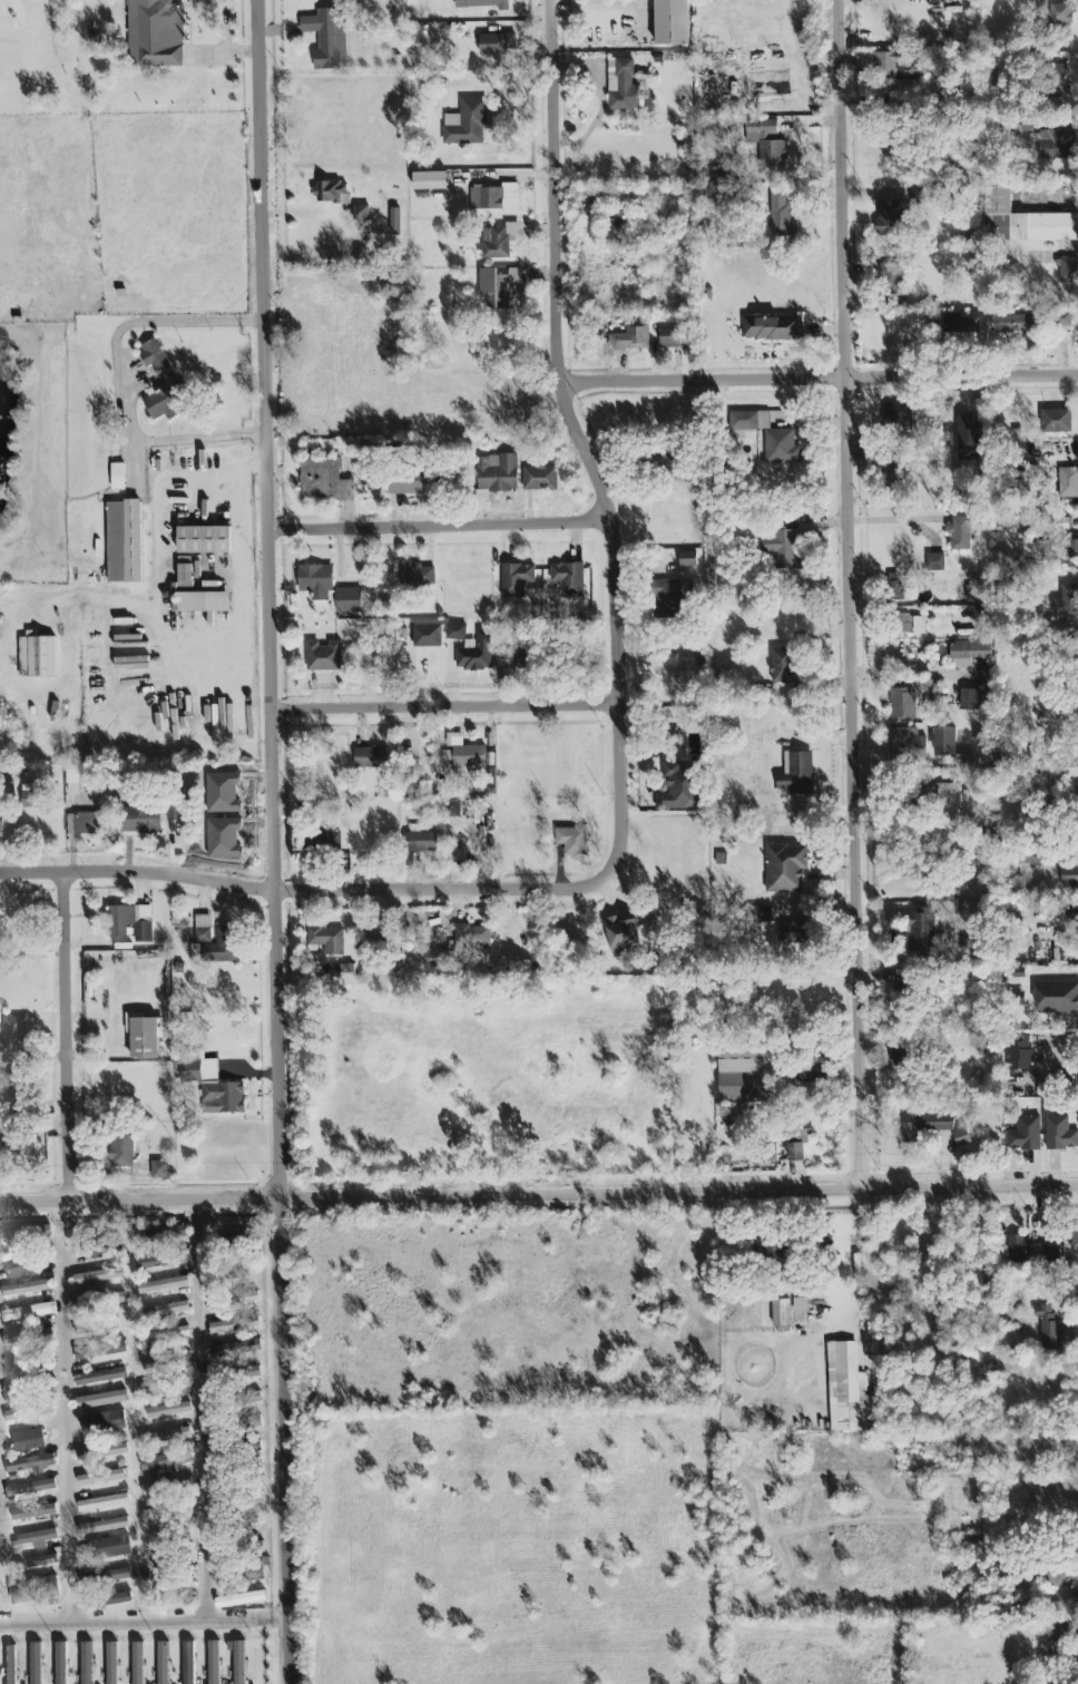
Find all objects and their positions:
building: (481, 4)
road: (594, 9)
building: (1060, 14)
building: (670, 22)
building: (154, 33)
building: (326, 38)
road: (227, 41)
building: (497, 46)
building: (1057, 78)
building: (623, 87)
building: (465, 124)
building: (1056, 145)
building: (771, 150)
building: (430, 182)
building: (329, 192)
building: (917, 194)
building: (493, 198)
building: (360, 213)
building: (781, 215)
building: (890, 218)
building: (1021, 221)
building: (394, 222)
building: (616, 226)
building: (497, 242)
building: (1068, 271)
building: (497, 286)
building: (1062, 320)
building: (961, 325)
building: (1012, 325)
building: (771, 329)
building: (629, 337)
building: (669, 339)
building: (170, 379)
road: (119, 380)
road: (819, 380)
building: (1056, 422)
road: (576, 435)
building: (767, 437)
building: (497, 474)
building: (117, 477)
building: (538, 479)
building: (323, 481)
building: (1068, 483)
building: (406, 484)
road: (156, 507)
road: (899, 520)
road: (441, 527)
building: (962, 532)
building: (204, 540)
building: (122, 542)
building: (786, 550)
building: (1070, 550)
building: (687, 560)
building: (934, 562)
building: (415, 575)
building: (568, 579)
building: (516, 580)
building: (327, 589)
road: (851, 595)
building: (974, 595)
building: (198, 596)
building: (669, 597)
building: (1066, 605)
building: (910, 625)
building: (455, 633)
building: (427, 636)
road: (232, 653)
building: (474, 653)
building: (969, 653)
building: (36, 657)
building: (323, 657)
building: (513, 660)
building: (782, 666)
building: (968, 699)
building: (902, 704)
road: (447, 708)
building: (905, 742)
building: (754, 743)
building: (950, 747)
building: (463, 756)
building: (370, 758)
building: (797, 775)
building: (678, 789)
building: (948, 795)
building: (31, 796)
building: (173, 809)
building: (452, 809)
building: (139, 820)
building: (90, 823)
building: (1, 824)
building: (322, 839)
building: (571, 840)
road: (275, 842)
building: (420, 842)
building: (1031, 858)
building: (785, 869)
building: (1069, 879)
road: (311, 891)
building: (129, 922)
building: (202, 929)
building: (795, 931)
building: (921, 932)
building: (623, 936)
building: (325, 939)
building: (471, 939)
building: (217, 948)
building: (435, 960)
building: (334, 971)
building: (1056, 997)
building: (1017, 999)
building: (12, 1035)
building: (144, 1035)
road: (68, 1038)
road: (1053, 1049)
building: (1018, 1054)
building: (900, 1059)
building: (197, 1068)
building: (812, 1070)
building: (747, 1073)
building: (12, 1091)
building: (220, 1098)
building: (924, 1125)
building: (1059, 1135)
building: (1022, 1136)
building: (960, 1137)
building: (797, 1140)
building: (120, 1151)
building: (770, 1153)
building: (159, 1171)
road: (539, 1196)
building: (1074, 1237)
building: (13, 1238)
road: (683, 1238)
building: (102, 1246)
building: (772, 1250)
building: (1017, 1251)
road: (846, 1255)
building: (1043, 1256)
building: (161, 1261)
building: (20, 1267)
building: (237, 1273)
building: (98, 1276)
building: (973, 1279)
building: (163, 1285)
building: (28, 1289)
road: (1064, 1296)
building: (234, 1301)
building: (100, 1302)
building: (801, 1306)
building: (167, 1311)
building: (27, 1313)
building: (781, 1313)
building: (235, 1325)
building: (97, 1326)
building: (1049, 1329)
building: (164, 1337)
building: (28, 1338)
building: (100, 1351)
building: (235, 1351)
building: (31, 1361)
building: (166, 1361)
building: (235, 1374)
building: (100, 1378)
building: (165, 1387)
building: (13, 1390)
building: (846, 1390)
building: (238, 1399)
building: (101, 1400)
building: (168, 1411)
road: (204, 1411)
building: (28, 1412)
road: (67, 1412)
building: (108, 1422)
building: (244, 1423)
building: (165, 1437)
building: (28, 1441)
building: (102, 1452)
building: (166, 1461)
building: (29, 1463)
building: (234, 1476)
building: (102, 1478)
building: (167, 1486)
building: (29, 1489)
building: (237, 1500)
building: (104, 1502)
building: (168, 1511)
building: (33, 1514)
building: (104, 1526)
building: (236, 1527)
building: (171, 1537)
building: (37, 1538)
building: (973, 1543)
building: (109, 1548)
building: (42, 1561)
building: (252, 1573)
building: (1058, 1575)
building: (110, 1576)
building: (184, 1584)
building: (33, 1590)
building: (244, 1599)
building: (108, 1600)
road: (145, 1623)
building: (1058, 1631)
building: (1077, 1657)
building: (238, 1661)
building: (163, 1663)
building: (188, 1663)
building: (214, 1663)
building: (36, 1664)
building: (60, 1664)
building: (87, 1664)
building: (111, 1664)
building: (137, 1664)
building: (10, 1665)

